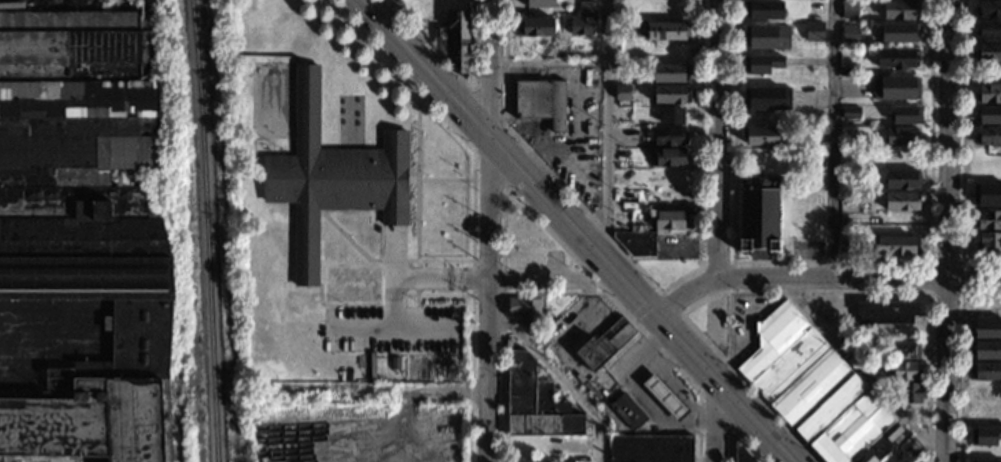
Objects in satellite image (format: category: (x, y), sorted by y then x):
building: (394, 1)
building: (540, 3)
building: (621, 6)
building: (586, 8)
building: (988, 9)
building: (672, 10)
building: (850, 10)
building: (901, 10)
building: (763, 11)
building: (535, 27)
building: (581, 27)
building: (621, 29)
building: (814, 30)
building: (988, 30)
building: (665, 31)
building: (850, 32)
building: (899, 33)
building: (770, 36)
building: (455, 41)
building: (989, 52)
building: (896, 58)
road: (549, 62)
building: (764, 62)
building: (670, 72)
building: (847, 72)
road: (458, 76)
building: (895, 87)
building: (622, 93)
building: (671, 94)
building: (989, 94)
building: (769, 97)
building: (541, 101)
building: (851, 112)
building: (988, 115)
building: (671, 116)
road: (504, 125)
road: (607, 128)
building: (816, 135)
building: (669, 136)
building: (760, 136)
building: (901, 136)
building: (988, 136)
road: (830, 139)
road: (466, 143)
road: (962, 150)
building: (669, 157)
road: (718, 172)
building: (331, 177)
road: (417, 177)
road: (440, 179)
building: (902, 179)
building: (989, 194)
building: (901, 201)
road: (529, 213)
building: (759, 214)
building: (671, 220)
building: (988, 220)
building: (85, 227)
railway: (206, 230)
road: (489, 231)
road: (948, 231)
road: (578, 232)
road: (352, 243)
building: (637, 243)
building: (989, 243)
building: (895, 245)
building: (846, 247)
road: (731, 261)
road: (831, 261)
road: (930, 262)
road: (417, 277)
road: (646, 277)
road: (394, 279)
road: (824, 279)
road: (428, 281)
road: (521, 281)
road: (785, 292)
road: (471, 293)
road: (670, 303)
road: (645, 306)
building: (525, 311)
road: (417, 313)
building: (885, 313)
road: (501, 326)
parking lot: (388, 328)
road: (389, 329)
road: (730, 329)
building: (985, 330)
road: (470, 339)
building: (604, 345)
building: (903, 350)
building: (986, 350)
road: (961, 358)
building: (394, 363)
building: (873, 366)
road: (675, 367)
road: (858, 371)
building: (902, 371)
building: (986, 371)
road: (556, 380)
building: (820, 393)
building: (912, 393)
building: (664, 397)
building: (536, 402)
road: (714, 411)
building: (627, 412)
road: (719, 420)
road: (735, 433)
building: (985, 436)
building: (650, 449)
building: (743, 454)
building: (531, 459)
building: (986, 461)

